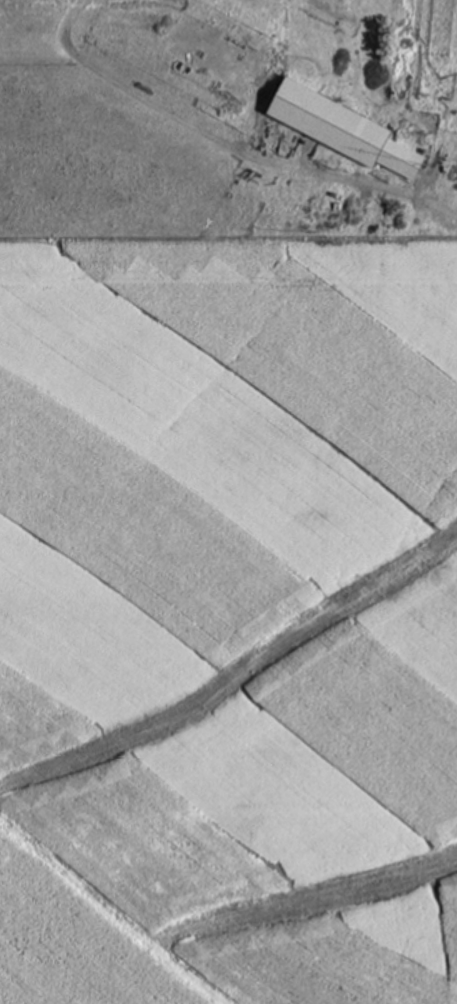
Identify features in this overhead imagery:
building: (340, 128)

